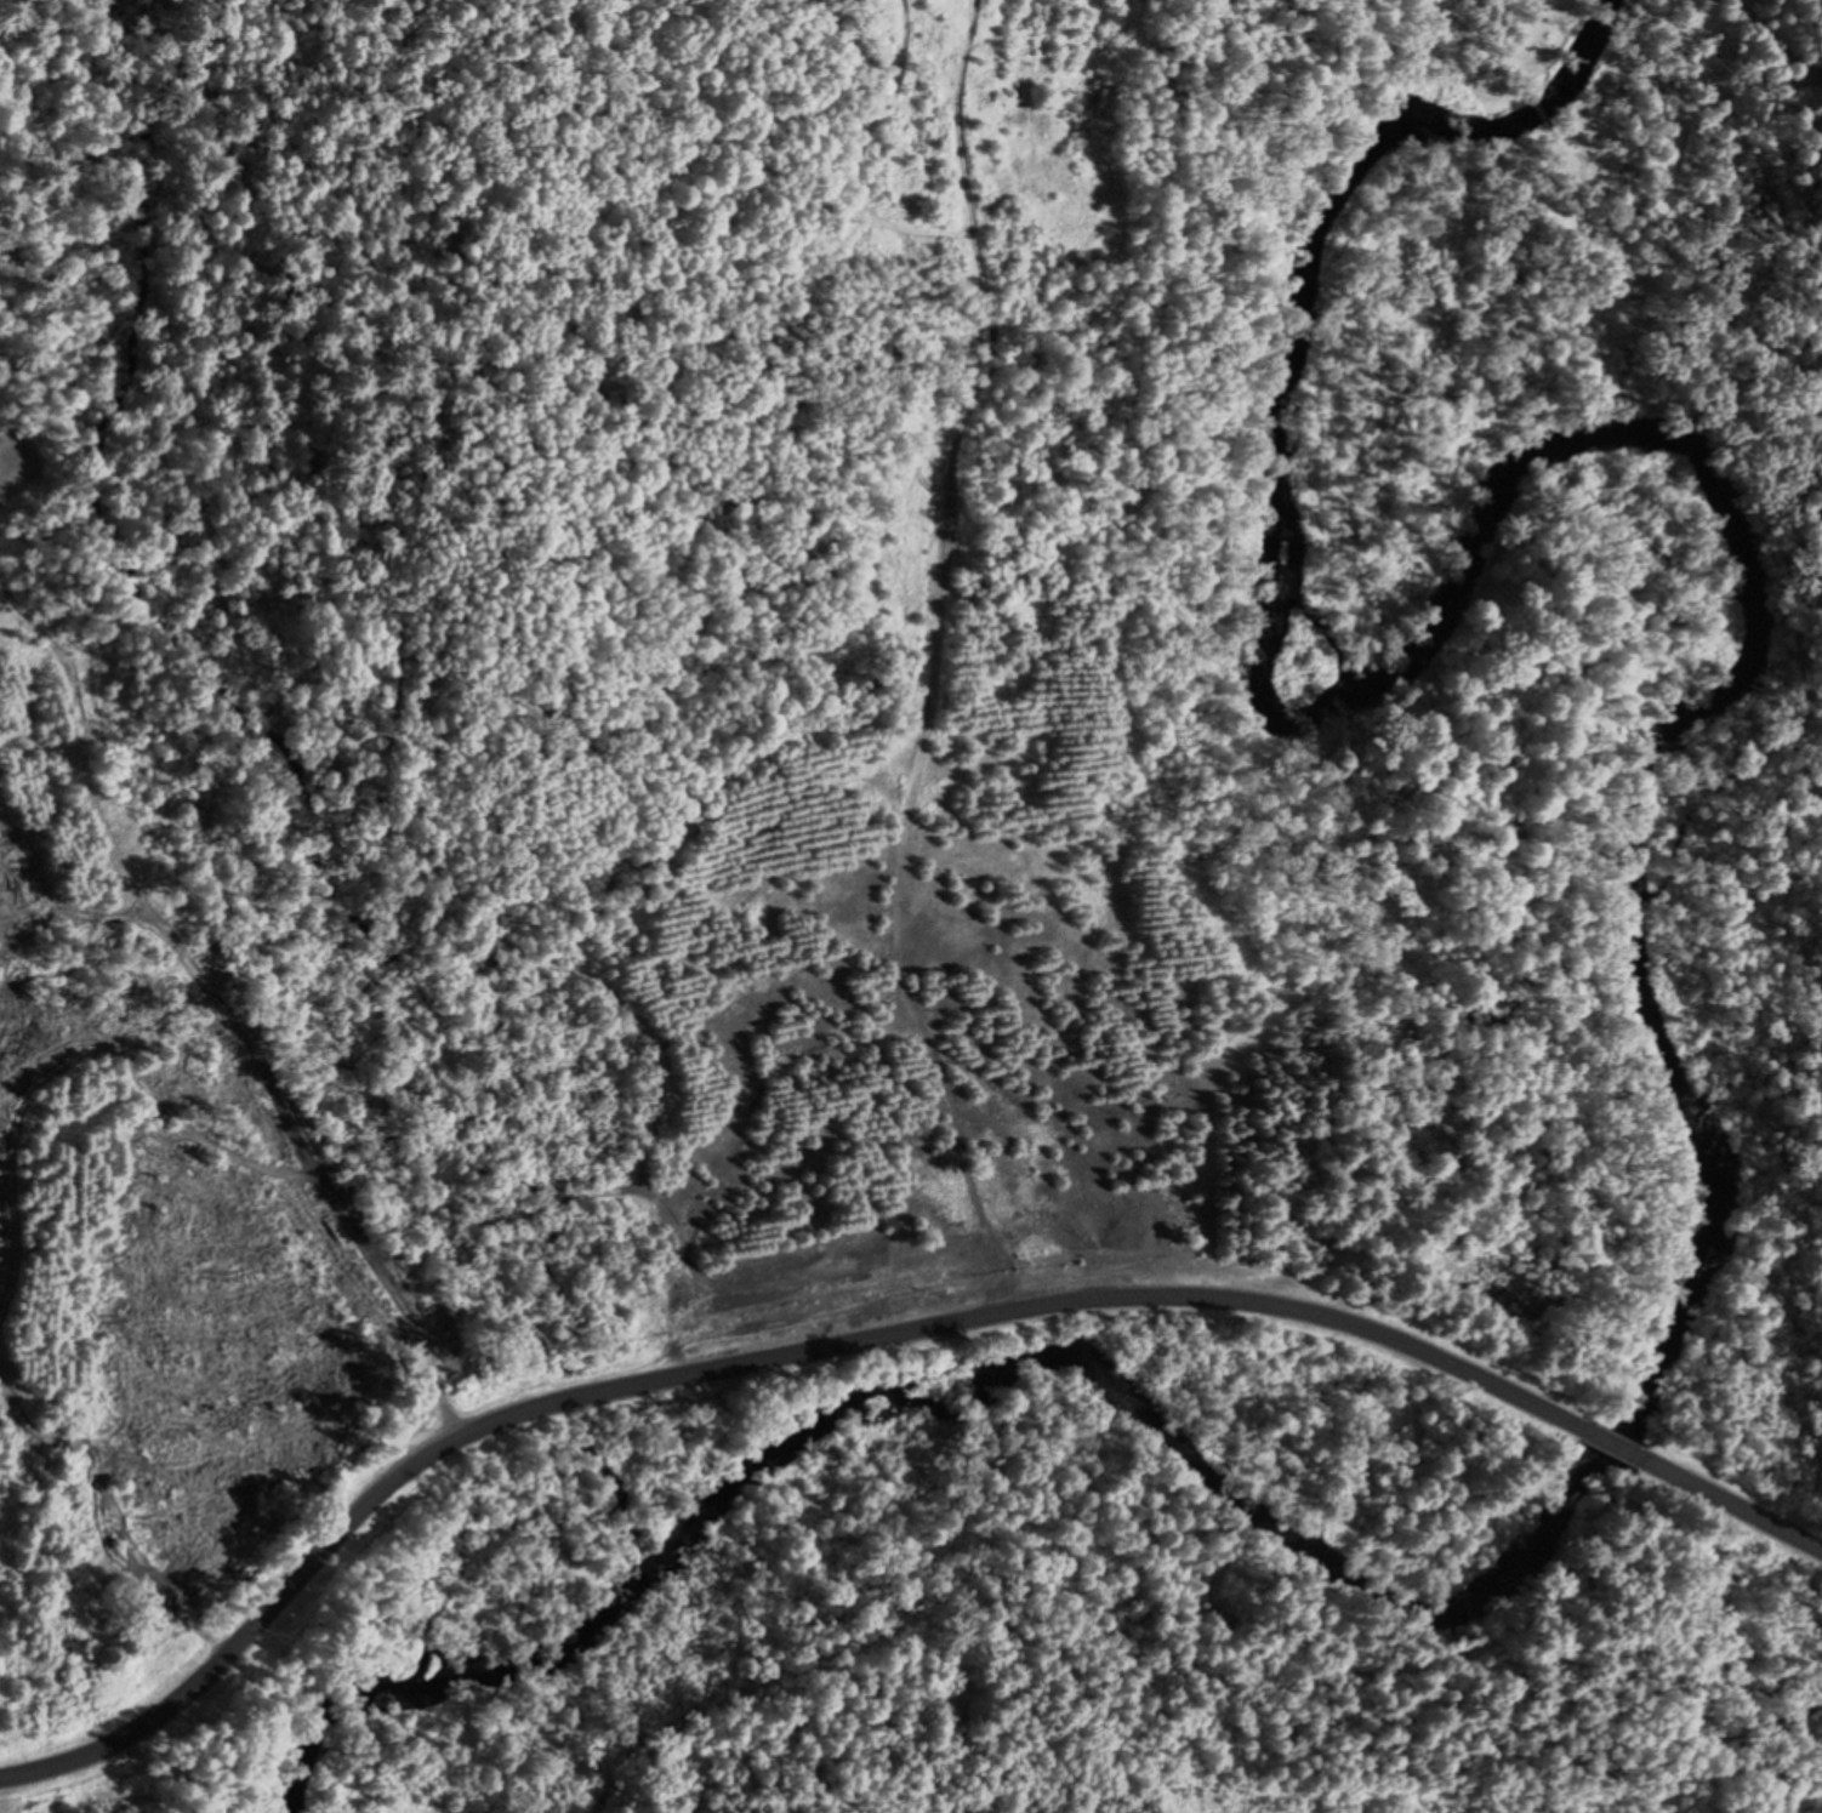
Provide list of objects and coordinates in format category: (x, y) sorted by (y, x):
road: (877, 1345)

